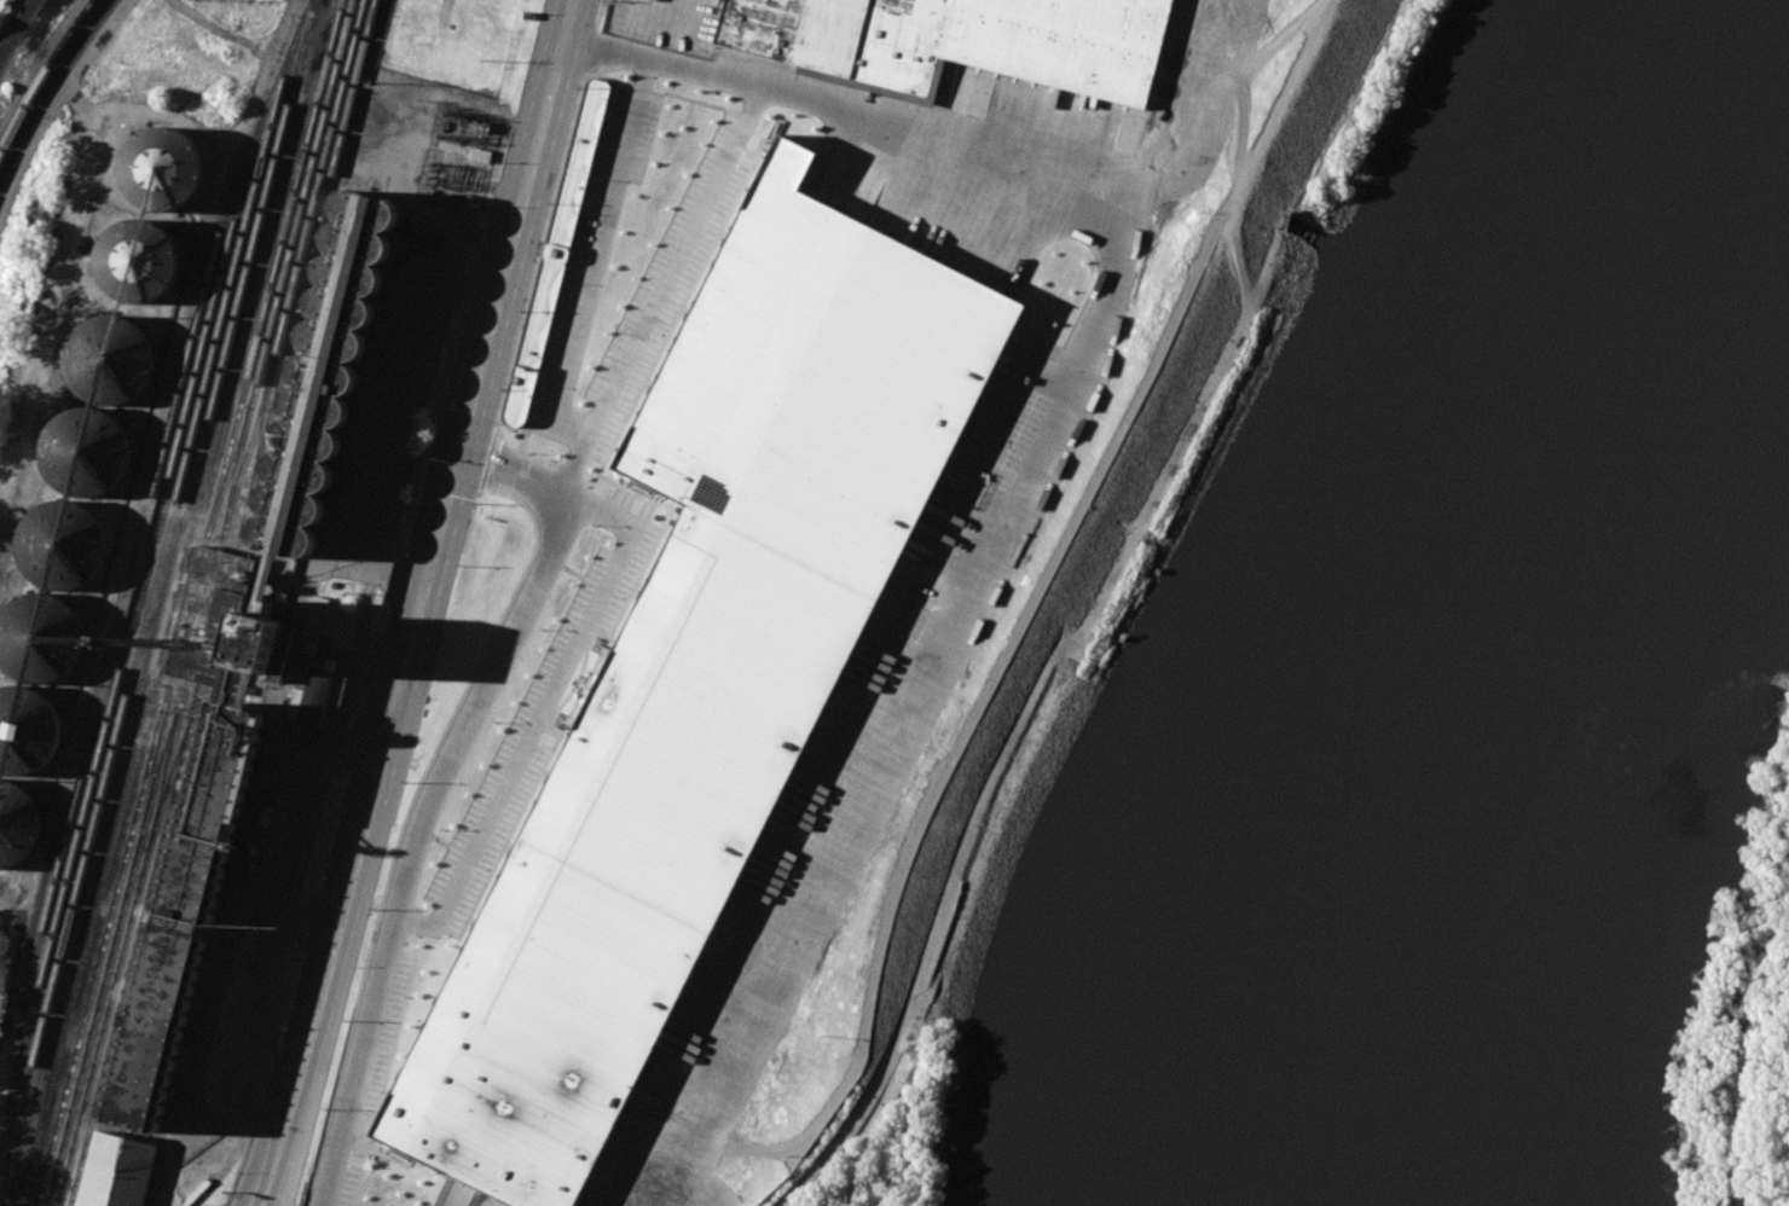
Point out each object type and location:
road: (667, 12)
railway: (15, 25)
building: (962, 42)
railway: (42, 75)
road: (1233, 87)
railway: (51, 88)
railway: (273, 88)
road: (861, 117)
power substation: (461, 155)
building: (162, 168)
silo: (162, 168)
railway: (300, 255)
building: (558, 259)
road: (597, 259)
building: (134, 262)
silo: (134, 262)
road: (656, 292)
railway: (255, 342)
building: (111, 359)
silo: (111, 359)
building: (323, 379)
road: (367, 419)
road: (465, 428)
railway: (250, 447)
building: (88, 451)
silo: (88, 451)
railway: (228, 469)
road: (1078, 522)
building: (64, 545)
silo: (64, 545)
river: (1504, 580)
railway: (161, 602)
railway: (221, 602)
railway: (205, 604)
railway: (147, 608)
railway: (134, 610)
railway: (109, 614)
railway: (121, 618)
building: (330, 621)
railway: (163, 638)
building: (41, 639)
silo: (41, 639)
road: (351, 660)
road: (486, 663)
building: (699, 665)
road: (903, 702)
road: (535, 719)
building: (28, 731)
silo: (28, 731)
railway: (157, 756)
railway: (166, 779)
road: (278, 818)
building: (18, 824)
silo: (18, 824)
building: (192, 877)
railway: (102, 946)
railway: (125, 947)
road: (309, 1031)
road: (352, 1074)
road: (902, 1123)
road: (869, 1130)
railway: (8, 1132)
park: (898, 1142)
road: (291, 1144)
building: (120, 1175)

